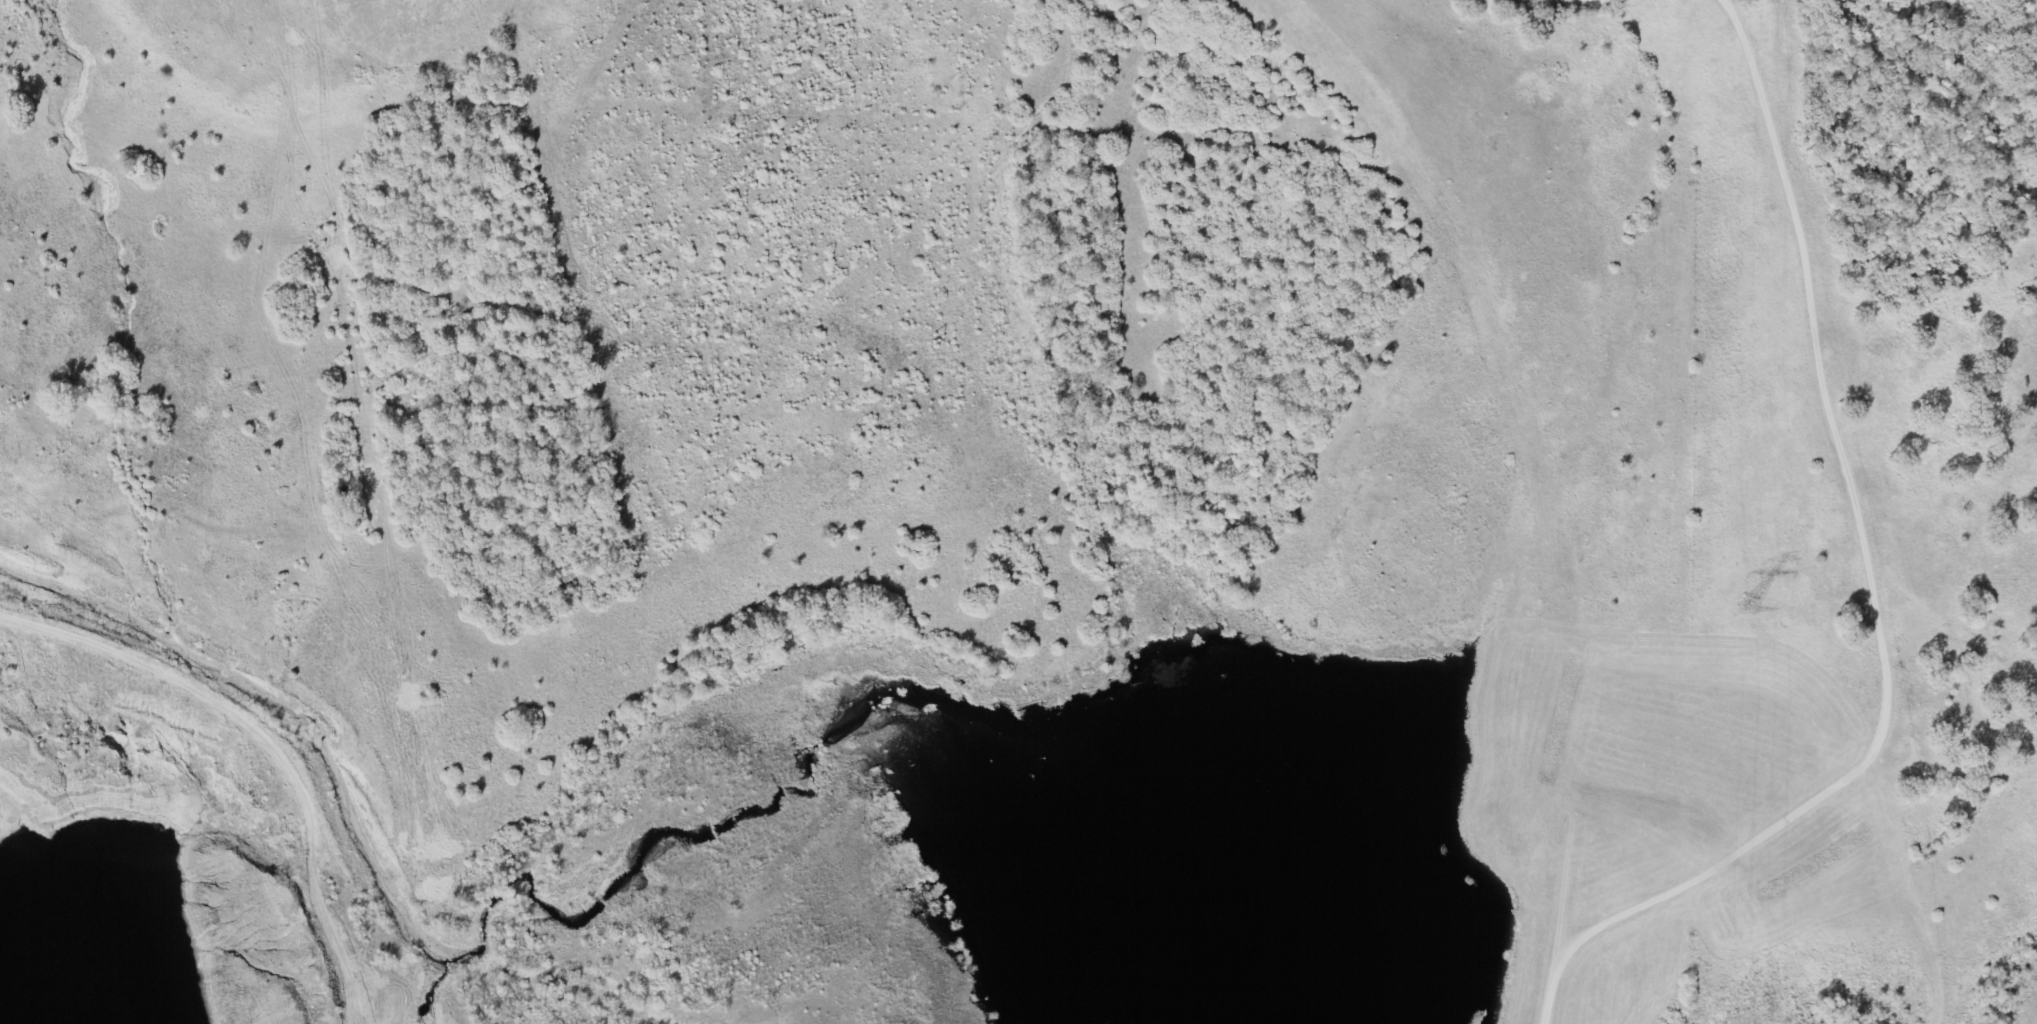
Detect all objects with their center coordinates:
power tower: (1747, 608)
quarry: (183, 803)

